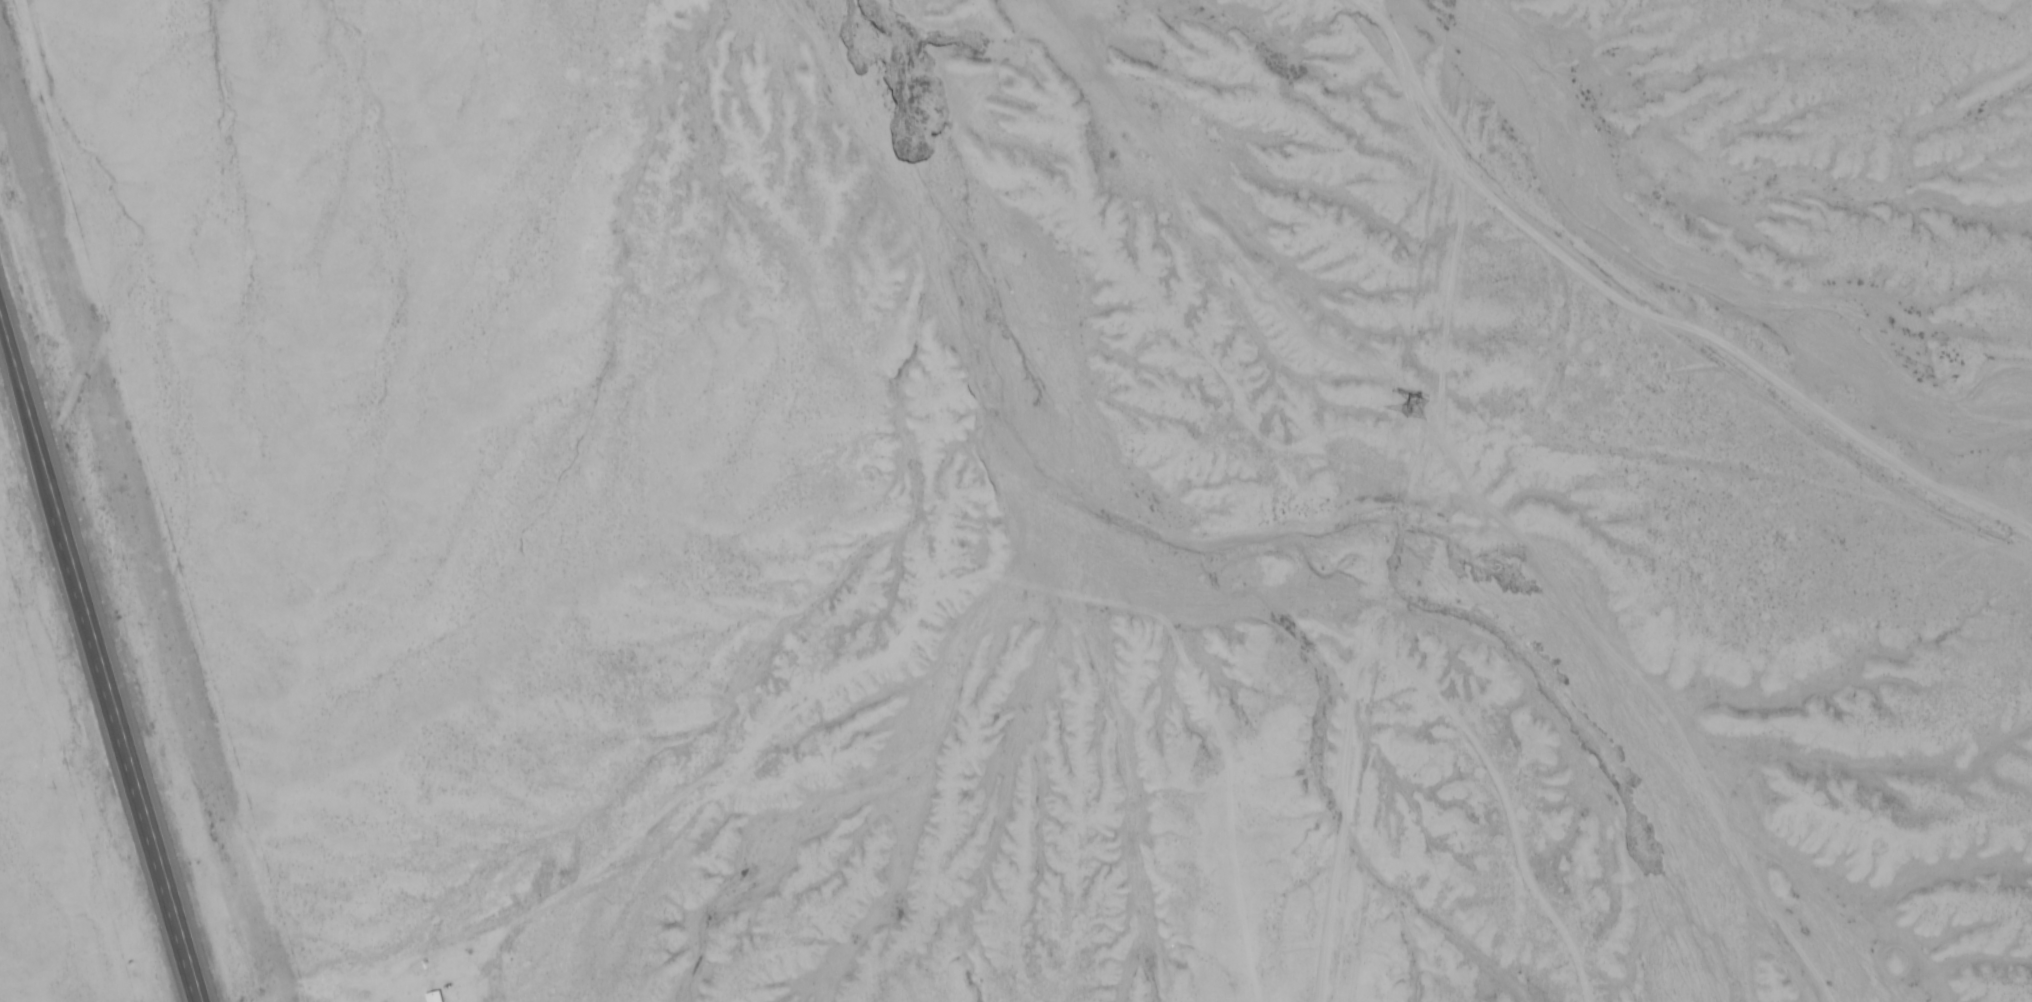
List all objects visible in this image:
road: (1660, 311)
power tower: (1408, 414)
river: (1238, 516)
road: (101, 656)

